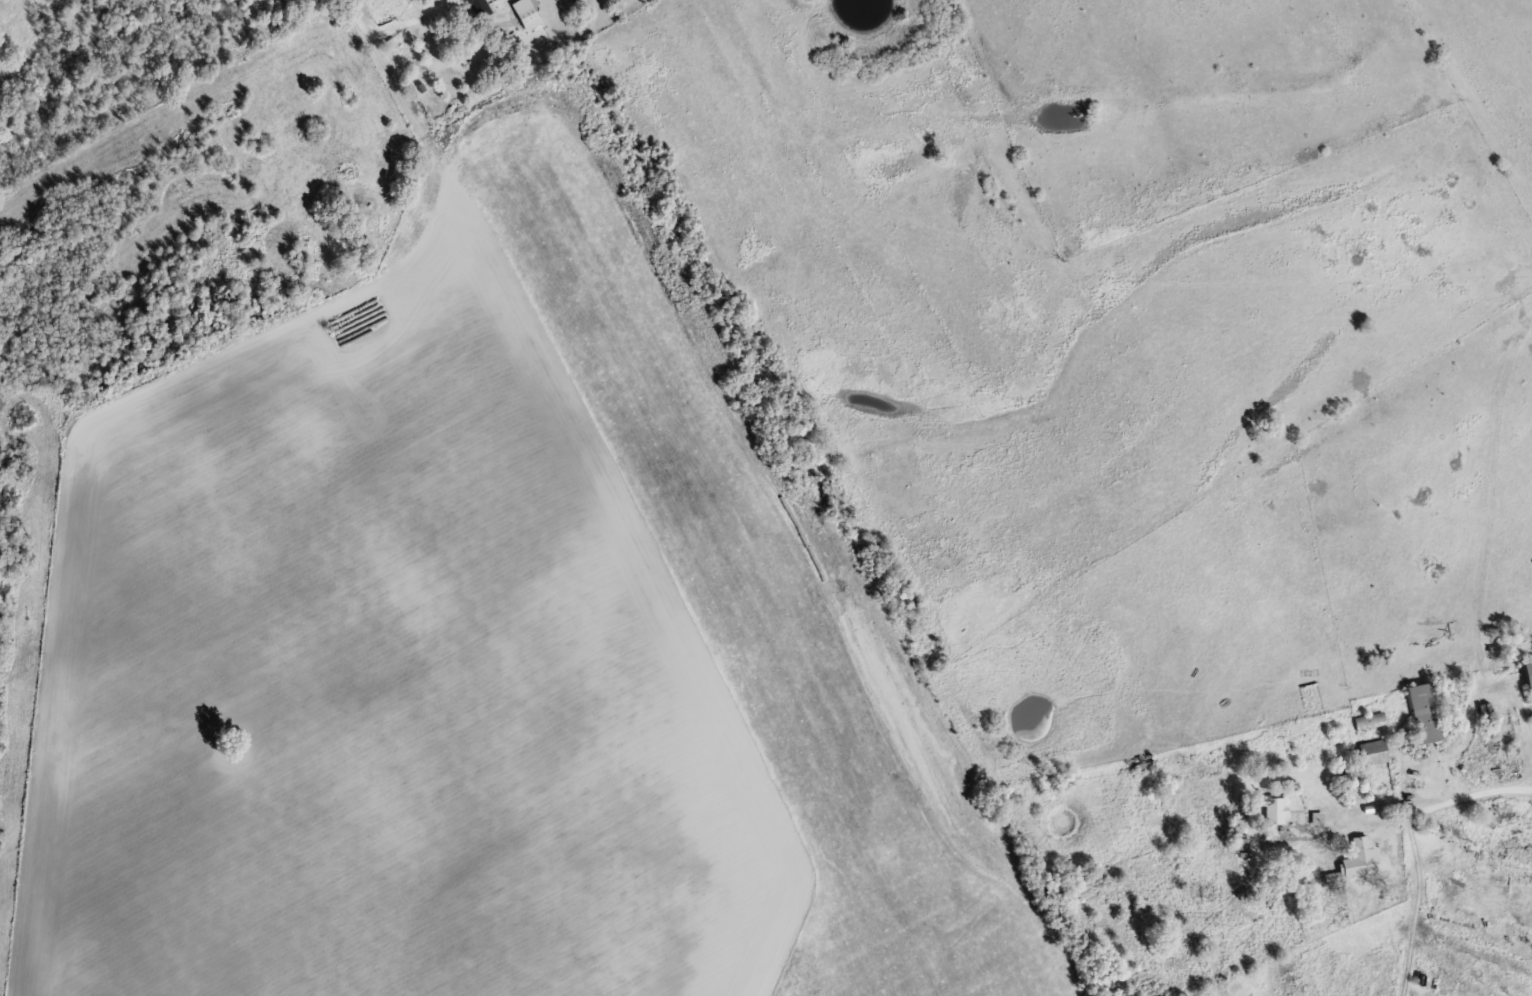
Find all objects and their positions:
building: (475, 8)
building: (523, 13)
road: (403, 86)
building: (1525, 672)
building: (1419, 712)
building: (1366, 719)
building: (1362, 757)
building: (1142, 761)
road: (1449, 796)
building: (1265, 807)
building: (1358, 857)

